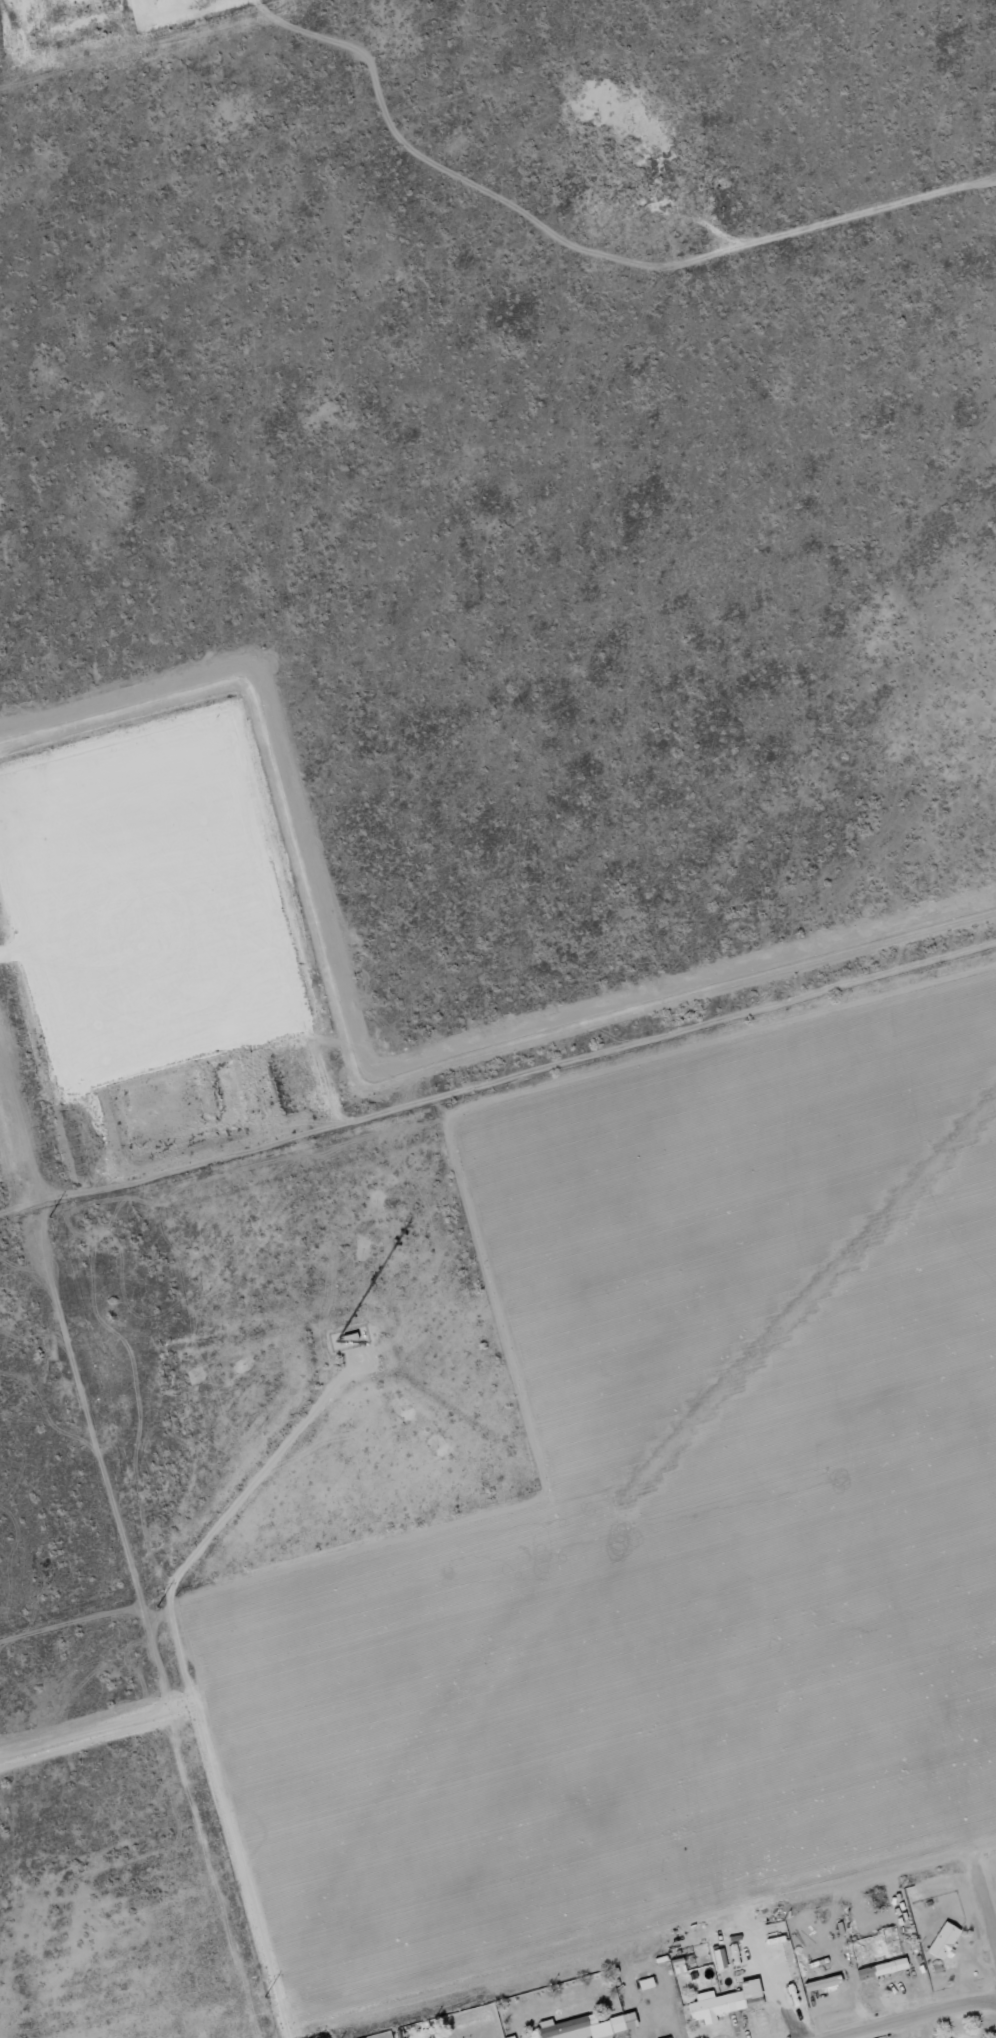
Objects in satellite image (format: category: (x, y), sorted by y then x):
power tower: (48, 1217)
power tower: (156, 1608)
road: (986, 1903)
building: (941, 1942)
building: (717, 1959)
power tower: (264, 1998)
building: (716, 2006)
road: (923, 2019)

